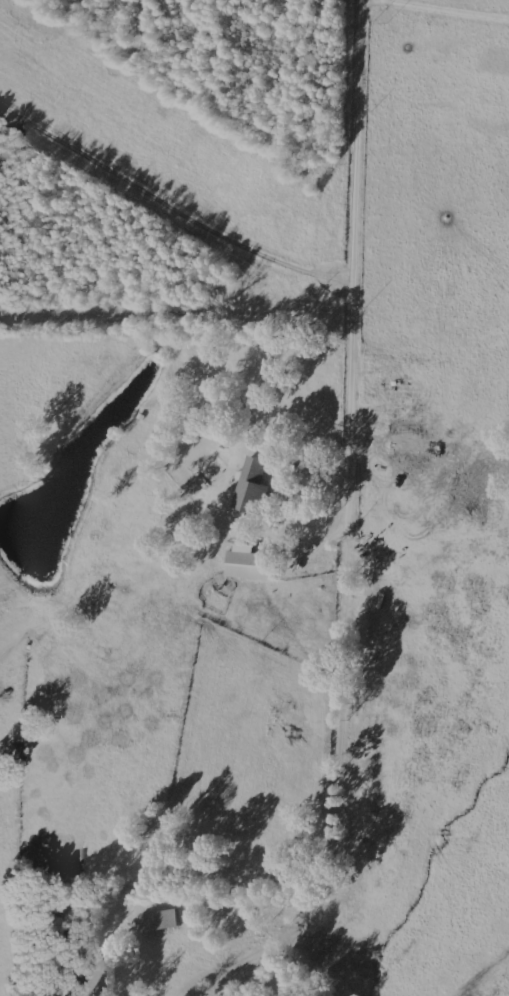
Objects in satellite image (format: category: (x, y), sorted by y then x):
road: (340, 461)
building: (251, 486)
building: (250, 563)
road: (426, 635)
building: (159, 920)
road: (483, 963)

